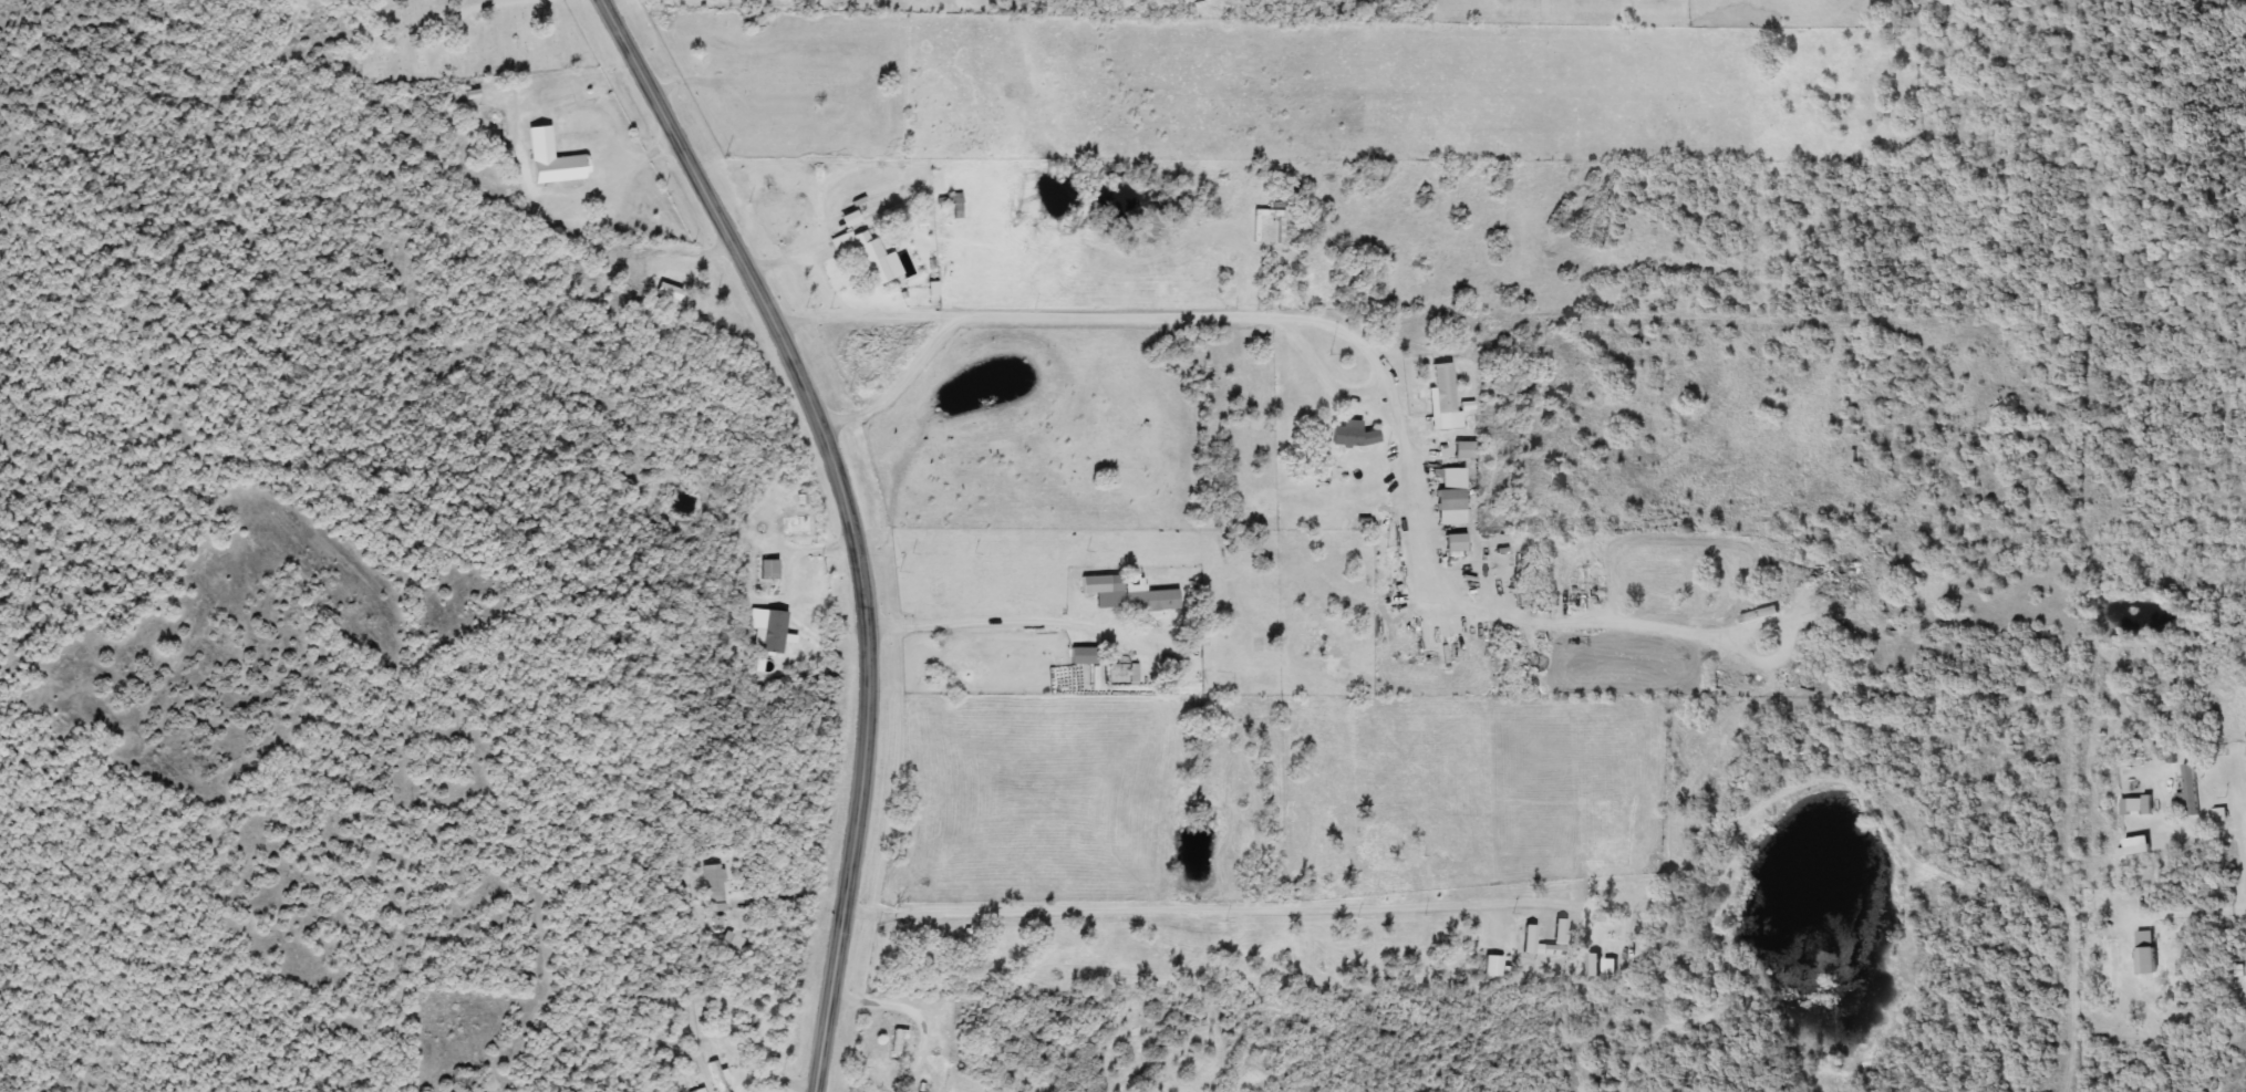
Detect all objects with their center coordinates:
park: (463, 40)
building: (552, 160)
road: (615, 169)
building: (871, 258)
road: (788, 259)
road: (829, 285)
building: (664, 292)
road: (861, 315)
road: (1359, 366)
building: (1443, 397)
building: (1354, 435)
building: (1464, 450)
building: (1450, 488)
road: (849, 520)
building: (797, 524)
building: (1456, 542)
building: (770, 570)
building: (1096, 585)
building: (1150, 600)
road: (1015, 618)
building: (775, 632)
building: (2191, 790)
building: (2138, 807)
building: (715, 893)
road: (790, 894)
road: (2198, 905)
road: (1207, 908)
building: (2146, 953)
road: (911, 1011)
building: (897, 1041)
building: (881, 1091)

